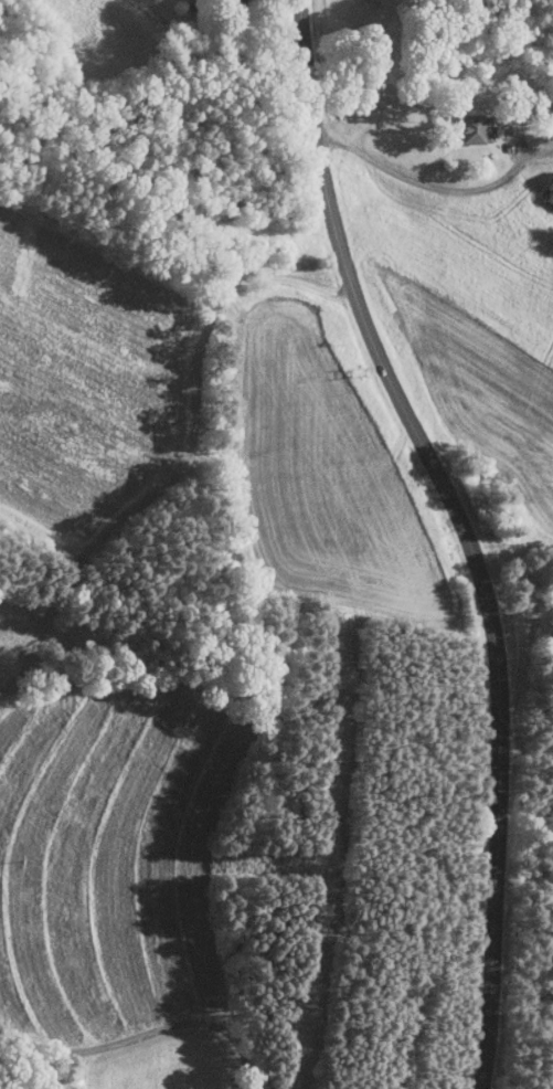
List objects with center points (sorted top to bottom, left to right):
building: (456, 121)
building: (541, 177)
road: (421, 182)
road: (465, 531)
road: (143, 1034)

